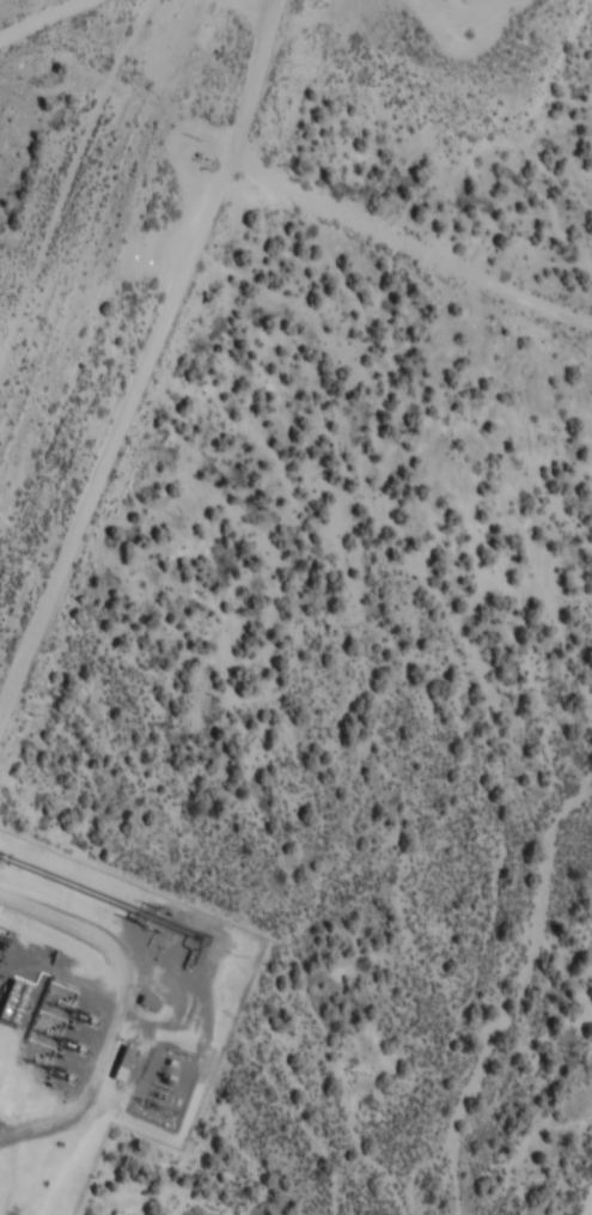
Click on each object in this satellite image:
road: (43, 18)
road: (408, 242)
road: (145, 363)
building: (16, 1002)
power substation: (164, 1085)
road: (590, 1211)

